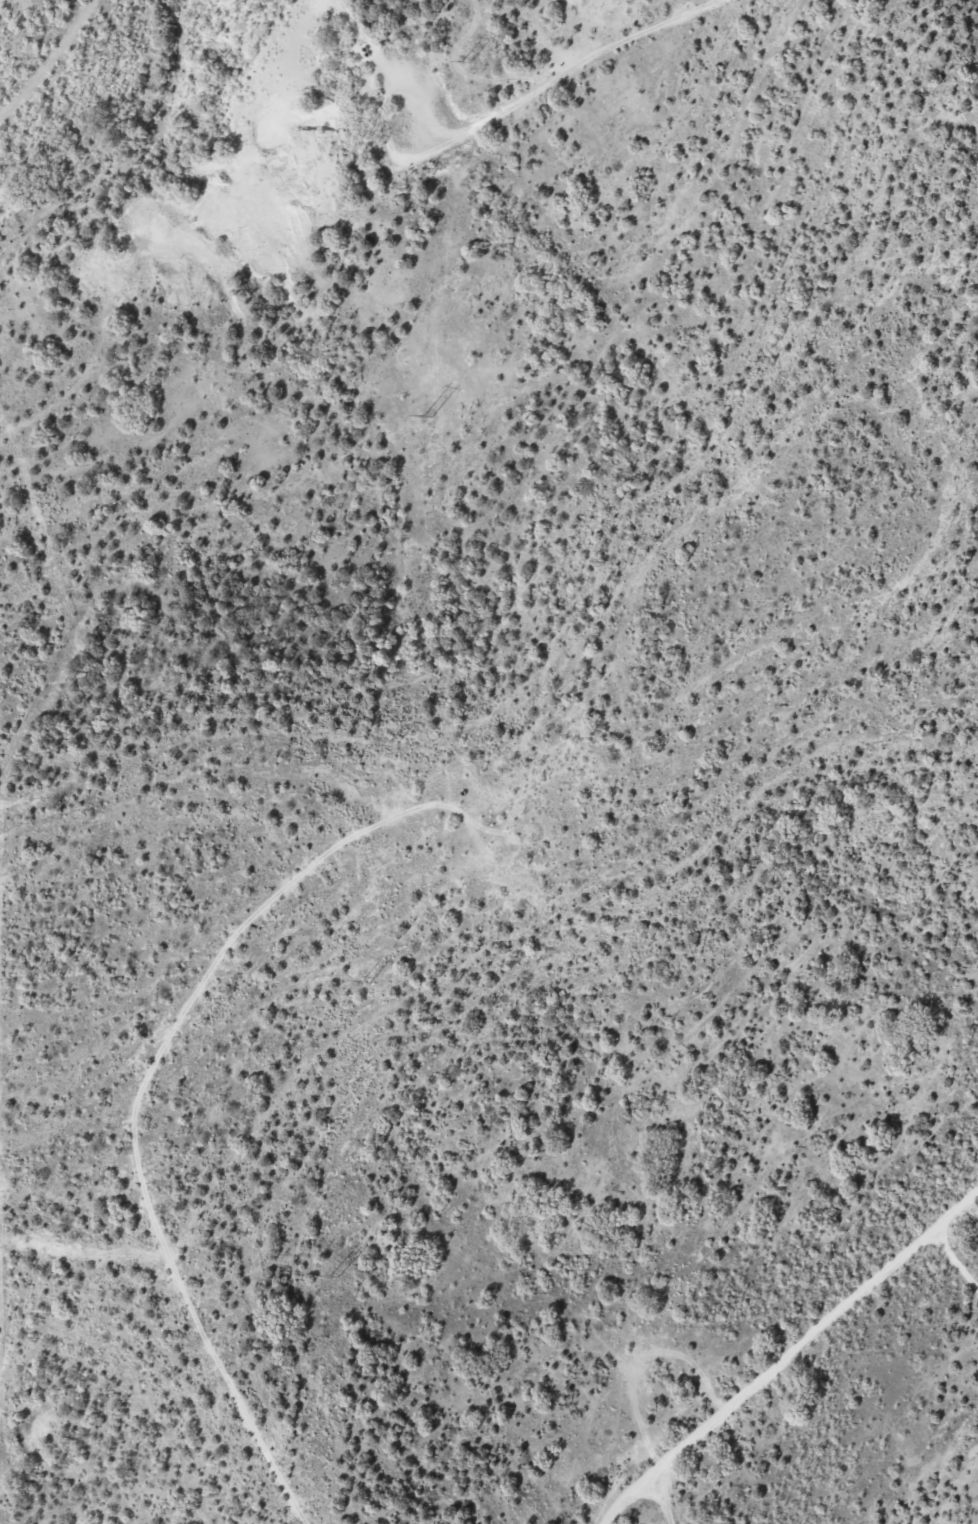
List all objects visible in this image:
power tower: (470, 60)
power tower: (429, 414)
power tower: (395, 743)
power tower: (369, 981)
power tower: (337, 1276)
road: (809, 1364)

